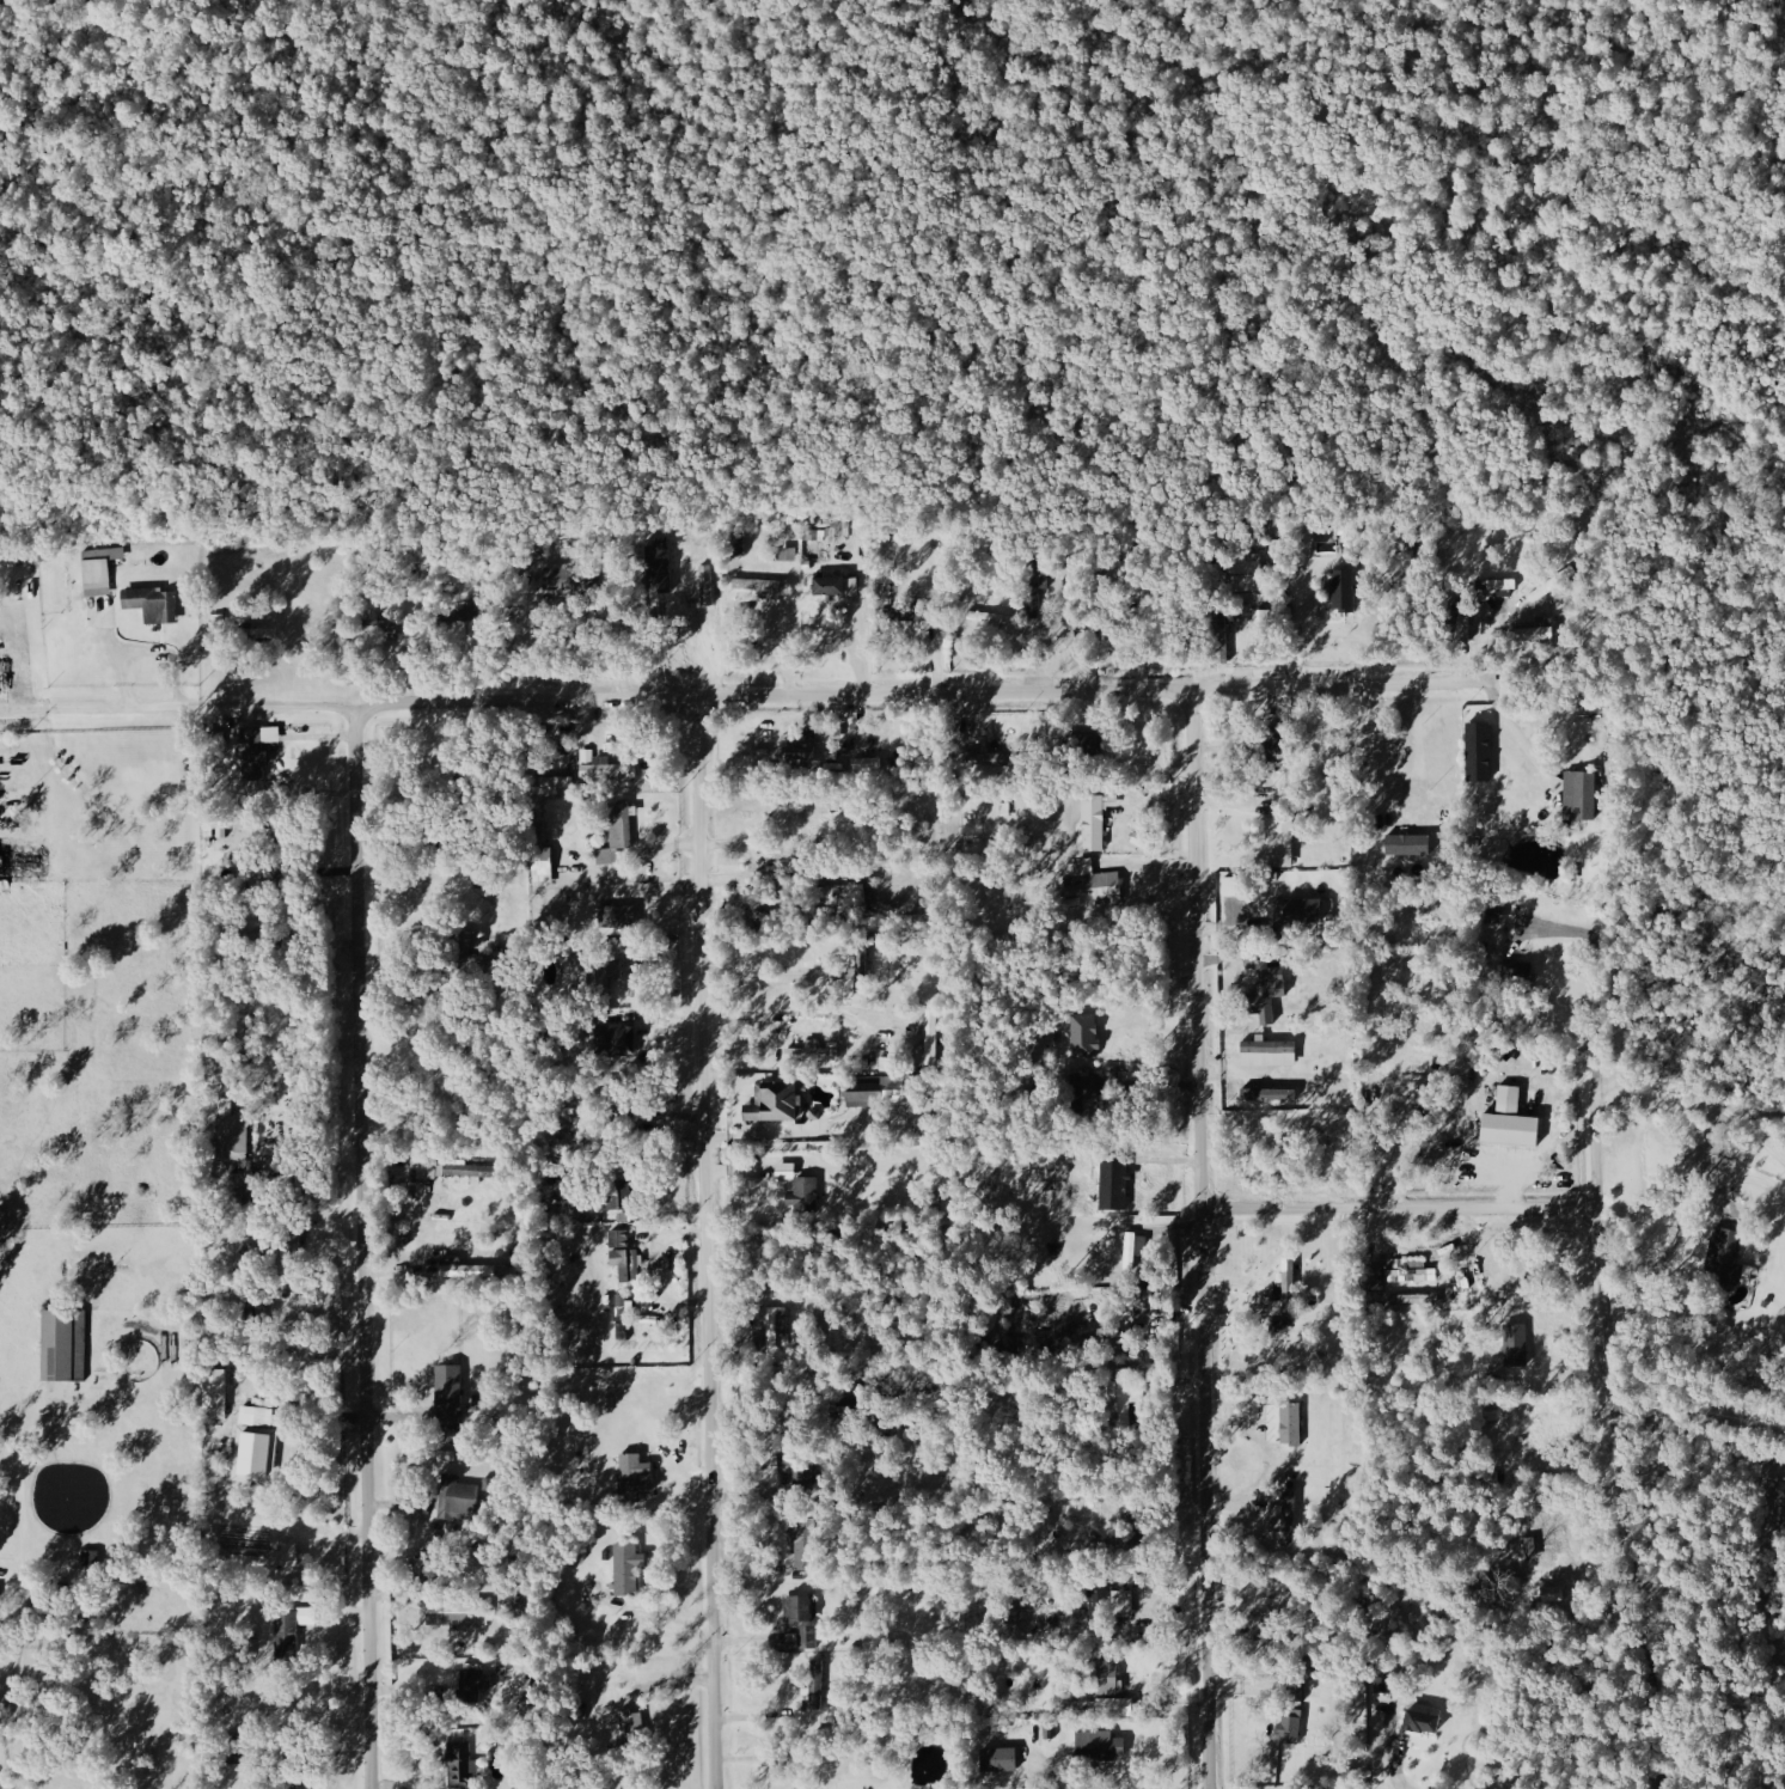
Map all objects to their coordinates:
building: (735, 545)
building: (787, 554)
building: (103, 568)
building: (1245, 580)
building: (1496, 584)
building: (705, 585)
building: (762, 586)
building: (835, 586)
building: (157, 603)
building: (1340, 604)
building: (899, 613)
building: (381, 627)
building: (1535, 631)
building: (259, 633)
building: (1222, 635)
road: (764, 697)
building: (1486, 737)
building: (255, 744)
road: (1380, 746)
building: (801, 757)
building: (866, 763)
building: (607, 771)
building: (551, 781)
building: (1578, 795)
building: (1092, 823)
building: (615, 831)
building: (1277, 842)
building: (1405, 845)
building: (26, 860)
building: (539, 866)
building: (1090, 883)
building: (825, 893)
building: (858, 897)
building: (1490, 912)
building: (615, 915)
building: (463, 945)
building: (1514, 971)
road: (768, 972)
building: (601, 975)
building: (1263, 996)
building: (929, 1037)
building: (610, 1039)
building: (809, 1052)
building: (1266, 1052)
building: (1411, 1080)
building: (890, 1087)
building: (1265, 1093)
road: (1695, 1097)
building: (774, 1099)
building: (1508, 1121)
building: (230, 1135)
building: (461, 1168)
building: (799, 1185)
road: (1597, 1208)
road: (1401, 1210)
road: (1205, 1239)
road: (1675, 1240)
road: (710, 1244)
road: (365, 1246)
building: (1130, 1248)
building: (622, 1256)
building: (457, 1269)
building: (1392, 1276)
building: (1284, 1289)
building: (1413, 1299)
building: (622, 1315)
building: (776, 1326)
building: (1277, 1326)
building: (62, 1344)
building: (1515, 1344)
building: (447, 1386)
building: (214, 1392)
building: (1493, 1411)
road: (1701, 1414)
building: (1288, 1422)
building: (251, 1441)
building: (631, 1476)
building: (453, 1497)
building: (1282, 1514)
building: (1543, 1545)
building: (285, 1556)
building: (623, 1568)
road: (29, 1593)
building: (1120, 1600)
building: (800, 1607)
building: (1, 1614)
building: (285, 1628)
building: (806, 1637)
building: (1102, 1677)
building: (1114, 1706)
building: (1418, 1721)
building: (631, 1722)
building: (1286, 1729)
building: (1096, 1745)
road: (1389, 1757)
building: (460, 1764)
building: (291, 1783)

